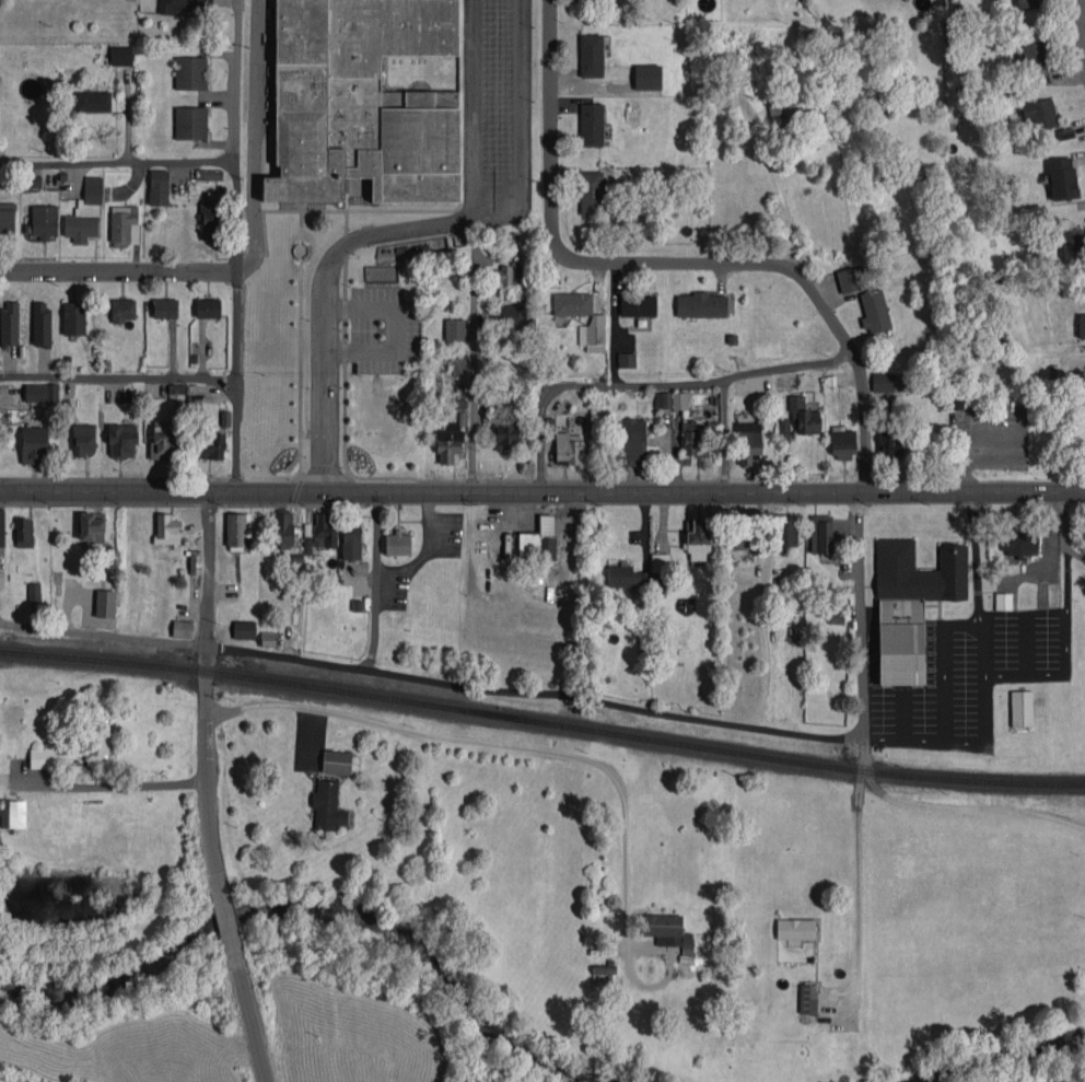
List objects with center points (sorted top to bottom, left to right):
building: (1026, 3)
building: (183, 5)
road: (1082, 25)
building: (1034, 53)
building: (120, 55)
building: (591, 55)
building: (190, 72)
building: (646, 77)
building: (92, 101)
building: (361, 101)
road: (472, 110)
building: (780, 110)
building: (1040, 113)
building: (190, 123)
building: (591, 124)
building: (1064, 132)
road: (232, 136)
road: (254, 139)
road: (116, 162)
building: (1062, 177)
building: (31, 182)
building: (157, 186)
building: (591, 191)
building: (85, 212)
building: (210, 216)
building: (7, 219)
building: (44, 221)
building: (124, 225)
road: (407, 231)
building: (1071, 243)
road: (670, 263)
road: (118, 270)
building: (505, 275)
building: (851, 278)
building: (571, 303)
building: (638, 304)
building: (701, 304)
building: (164, 307)
building: (208, 307)
building: (121, 310)
building: (874, 311)
building: (511, 314)
building: (73, 318)
building: (9, 323)
building: (40, 323)
road: (615, 324)
building: (1082, 325)
building: (454, 328)
building: (593, 333)
road: (397, 336)
building: (626, 359)
building: (457, 365)
road: (471, 368)
road: (118, 377)
road: (235, 381)
building: (886, 381)
road: (650, 383)
building: (40, 392)
building: (958, 398)
building: (670, 399)
building: (804, 416)
building: (225, 418)
building: (784, 430)
building: (506, 437)
building: (82, 439)
building: (692, 439)
building: (121, 440)
building: (162, 440)
building: (631, 441)
building: (747, 441)
building: (842, 442)
building: (33, 444)
building: (889, 444)
building: (211, 445)
building: (567, 447)
road: (542, 491)
road: (1065, 520)
building: (92, 526)
building: (166, 528)
building: (237, 528)
building: (282, 528)
building: (325, 530)
building: (786, 530)
building: (743, 531)
building: (1, 532)
building: (24, 532)
building: (821, 534)
building: (539, 538)
building: (350, 540)
building: (698, 542)
building: (1018, 542)
building: (397, 543)
building: (306, 544)
road: (1049, 545)
road: (973, 558)
building: (194, 561)
building: (640, 573)
building: (34, 591)
building: (1003, 601)
building: (105, 603)
building: (910, 604)
road: (857, 614)
building: (182, 628)
building: (244, 629)
road: (1065, 648)
road: (985, 649)
road: (271, 661)
road: (205, 690)
building: (1020, 708)
railway: (541, 722)
road: (732, 724)
road: (959, 742)
building: (96, 743)
road: (489, 746)
building: (43, 757)
building: (336, 761)
road: (102, 784)
building: (327, 805)
road: (967, 808)
building: (12, 813)
road: (226, 921)
building: (795, 928)
building: (665, 931)
building: (598, 977)
building: (807, 998)
road: (249, 1019)

